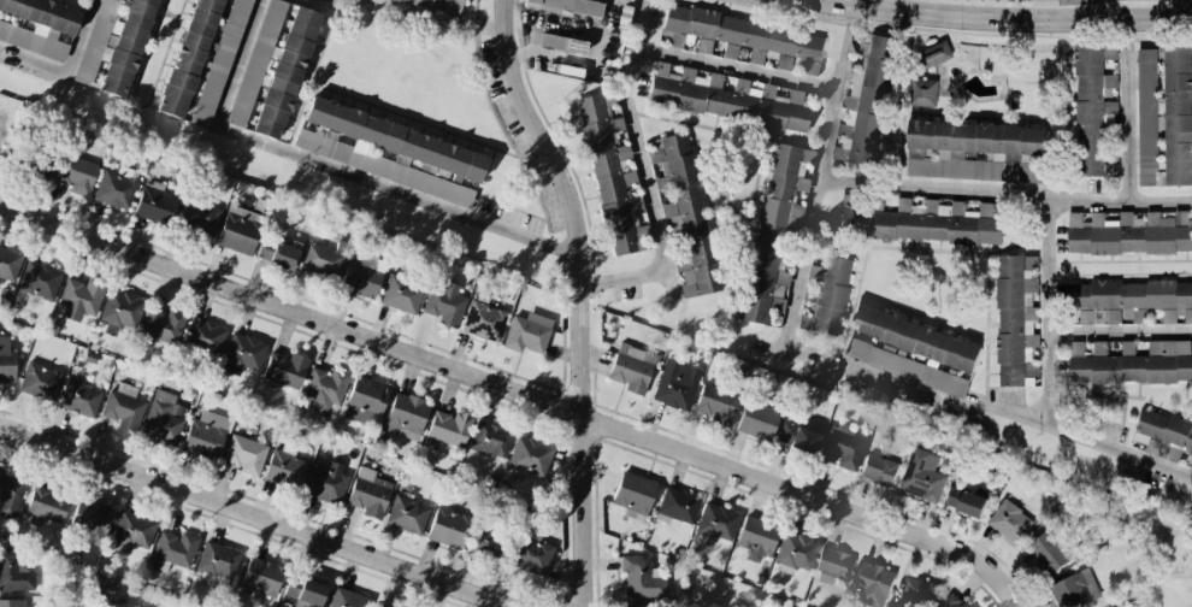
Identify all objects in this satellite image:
building: (432, 4)
road: (891, 6)
building: (568, 7)
road: (435, 14)
road: (970, 19)
road: (1163, 19)
road: (637, 23)
building: (39, 24)
building: (744, 34)
building: (673, 39)
building: (561, 43)
building: (118, 45)
building: (704, 46)
road: (844, 48)
building: (730, 52)
building: (1109, 52)
building: (934, 53)
building: (189, 61)
building: (255, 63)
building: (783, 63)
building: (220, 65)
road: (734, 67)
building: (810, 67)
road: (67, 70)
building: (285, 72)
building: (922, 92)
building: (792, 98)
building: (722, 99)
building: (866, 102)
building: (1092, 107)
road: (1127, 110)
building: (1164, 112)
building: (973, 149)
building: (388, 151)
road: (332, 169)
road: (644, 171)
building: (76, 175)
building: (612, 176)
building: (117, 187)
road: (1005, 194)
building: (154, 204)
building: (686, 212)
building: (199, 216)
road: (813, 220)
building: (921, 222)
building: (775, 226)
building: (238, 230)
building: (1128, 232)
building: (277, 254)
building: (323, 259)
building: (8, 264)
building: (815, 273)
building: (362, 276)
road: (624, 278)
building: (40, 279)
building: (401, 294)
building: (832, 295)
road: (580, 296)
building: (79, 299)
building: (1131, 299)
building: (444, 305)
road: (1048, 310)
building: (120, 311)
building: (1016, 318)
building: (483, 322)
building: (163, 325)
road: (1120, 330)
building: (526, 332)
building: (203, 336)
building: (917, 338)
building: (242, 354)
road: (802, 354)
building: (6, 359)
building: (1132, 363)
building: (907, 367)
building: (285, 369)
building: (631, 369)
building: (39, 381)
building: (675, 384)
building: (324, 389)
road: (514, 393)
building: (79, 397)
building: (365, 401)
building: (715, 403)
building: (123, 407)
road: (1020, 414)
building: (406, 416)
building: (163, 418)
building: (756, 420)
building: (448, 428)
building: (1163, 434)
building: (206, 435)
building: (797, 438)
building: (490, 440)
building: (842, 446)
building: (246, 454)
building: (529, 455)
building: (284, 468)
building: (878, 470)
building: (921, 476)
building: (326, 483)
building: (368, 493)
building: (10, 494)
building: (633, 495)
building: (964, 501)
building: (47, 505)
building: (677, 507)
road: (253, 514)
building: (406, 515)
building: (92, 520)
building: (1009, 520)
building: (716, 521)
building: (448, 528)
building: (132, 531)
building: (756, 538)
building: (173, 550)
building: (512, 550)
building: (796, 552)
building: (1046, 552)
building: (217, 565)
building: (834, 565)
building: (14, 571)
building: (641, 577)
building: (261, 578)
building: (873, 583)
building: (1075, 589)
building: (922, 591)
building: (302, 593)
building: (347, 599)
building: (12, 602)
building: (955, 603)
building: (899, 605)
building: (380, 606)
building: (632, 606)

